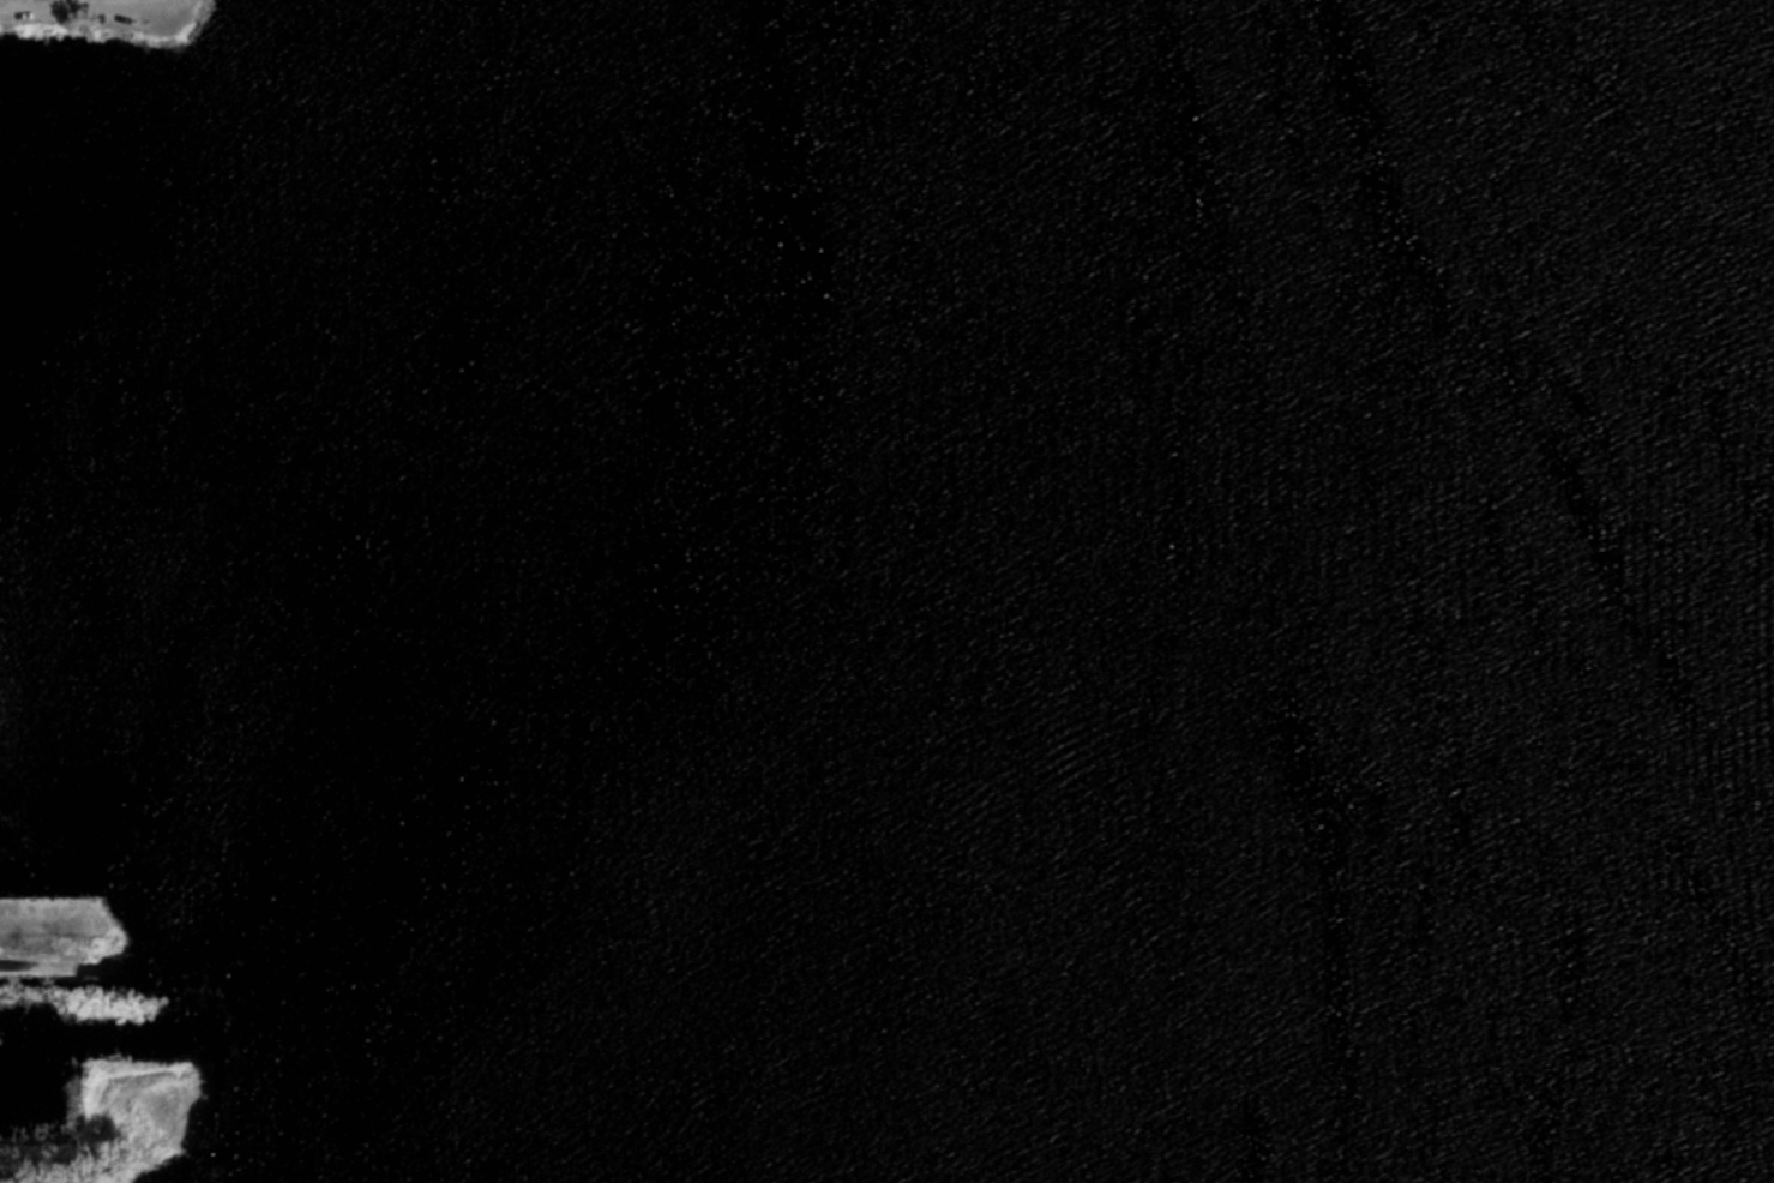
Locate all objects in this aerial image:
road: (58, 971)

